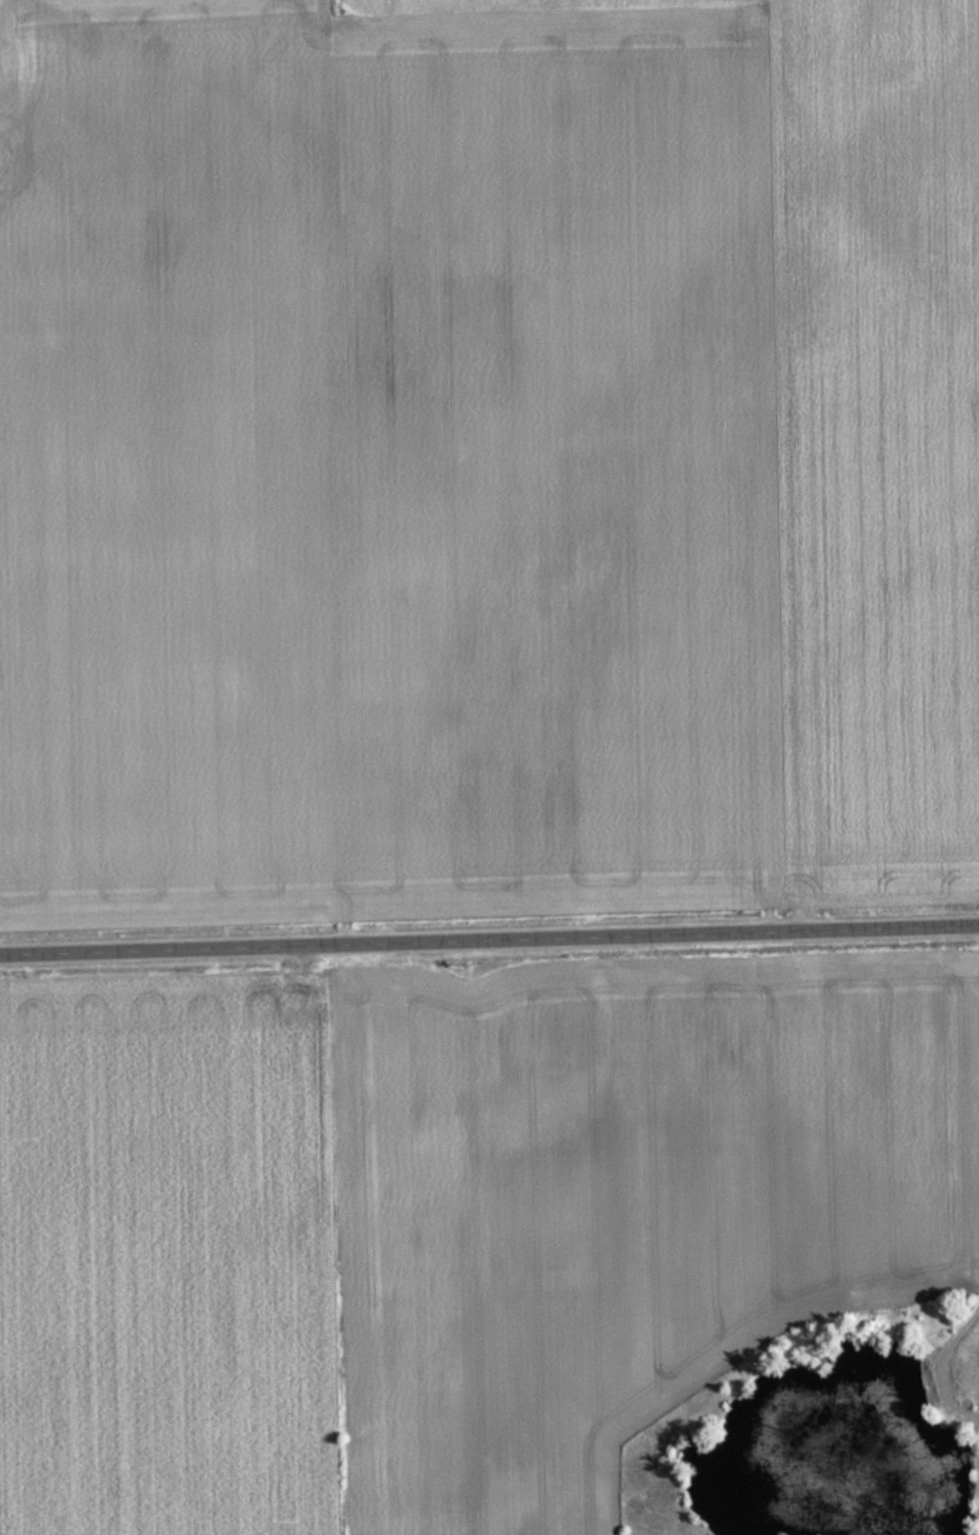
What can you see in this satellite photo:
road: (489, 936)

